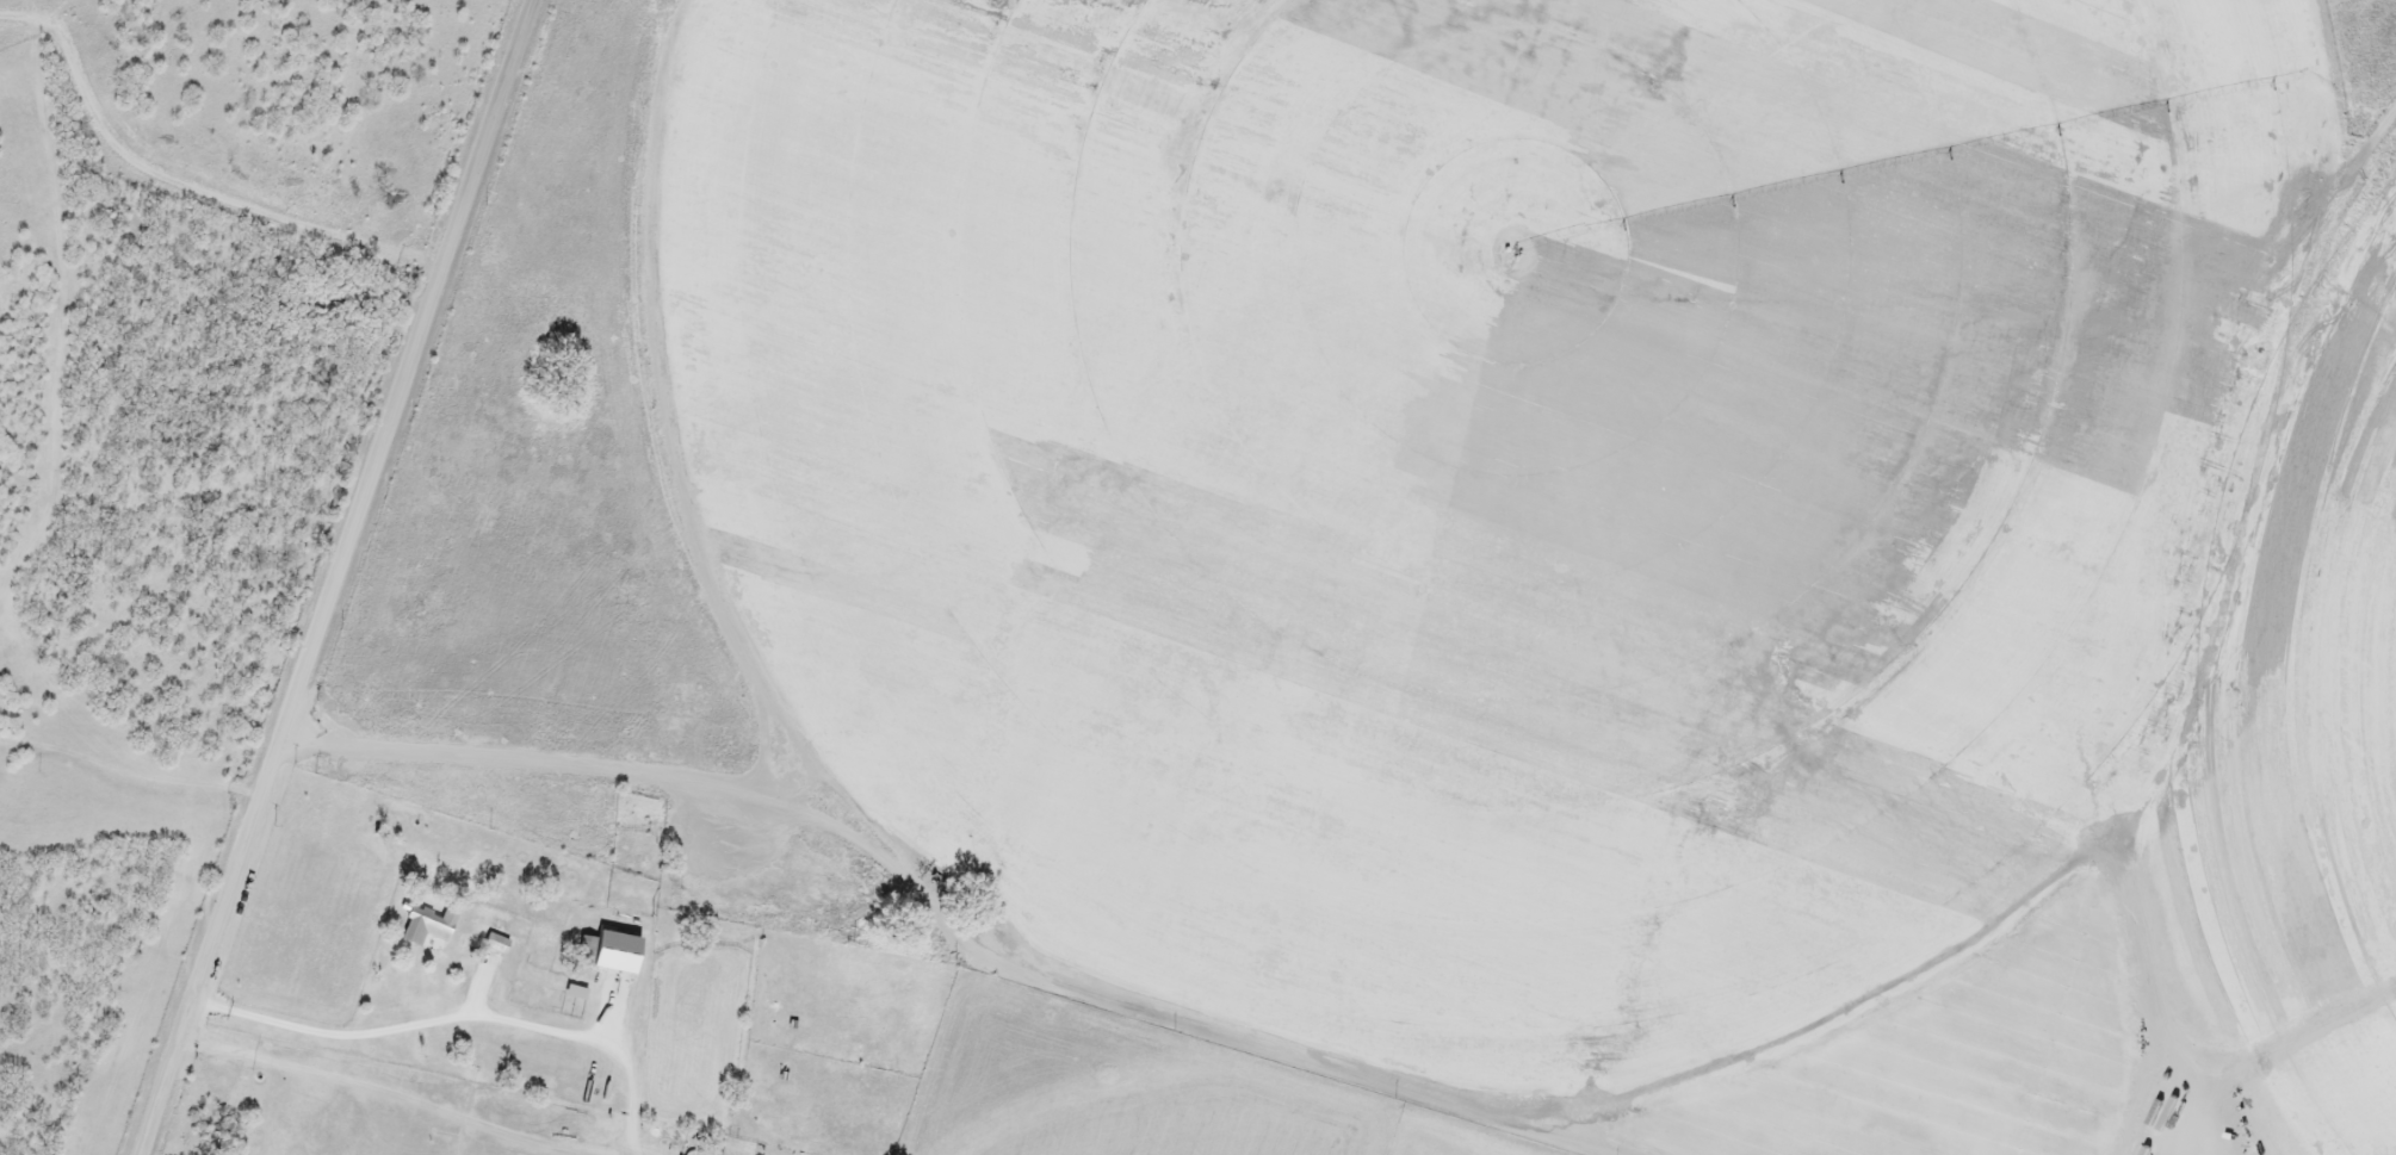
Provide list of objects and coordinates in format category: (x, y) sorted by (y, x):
road: (341, 578)
road: (953, 924)
building: (427, 927)
building: (608, 950)
building: (574, 991)
road: (463, 1014)
road: (396, 1092)

